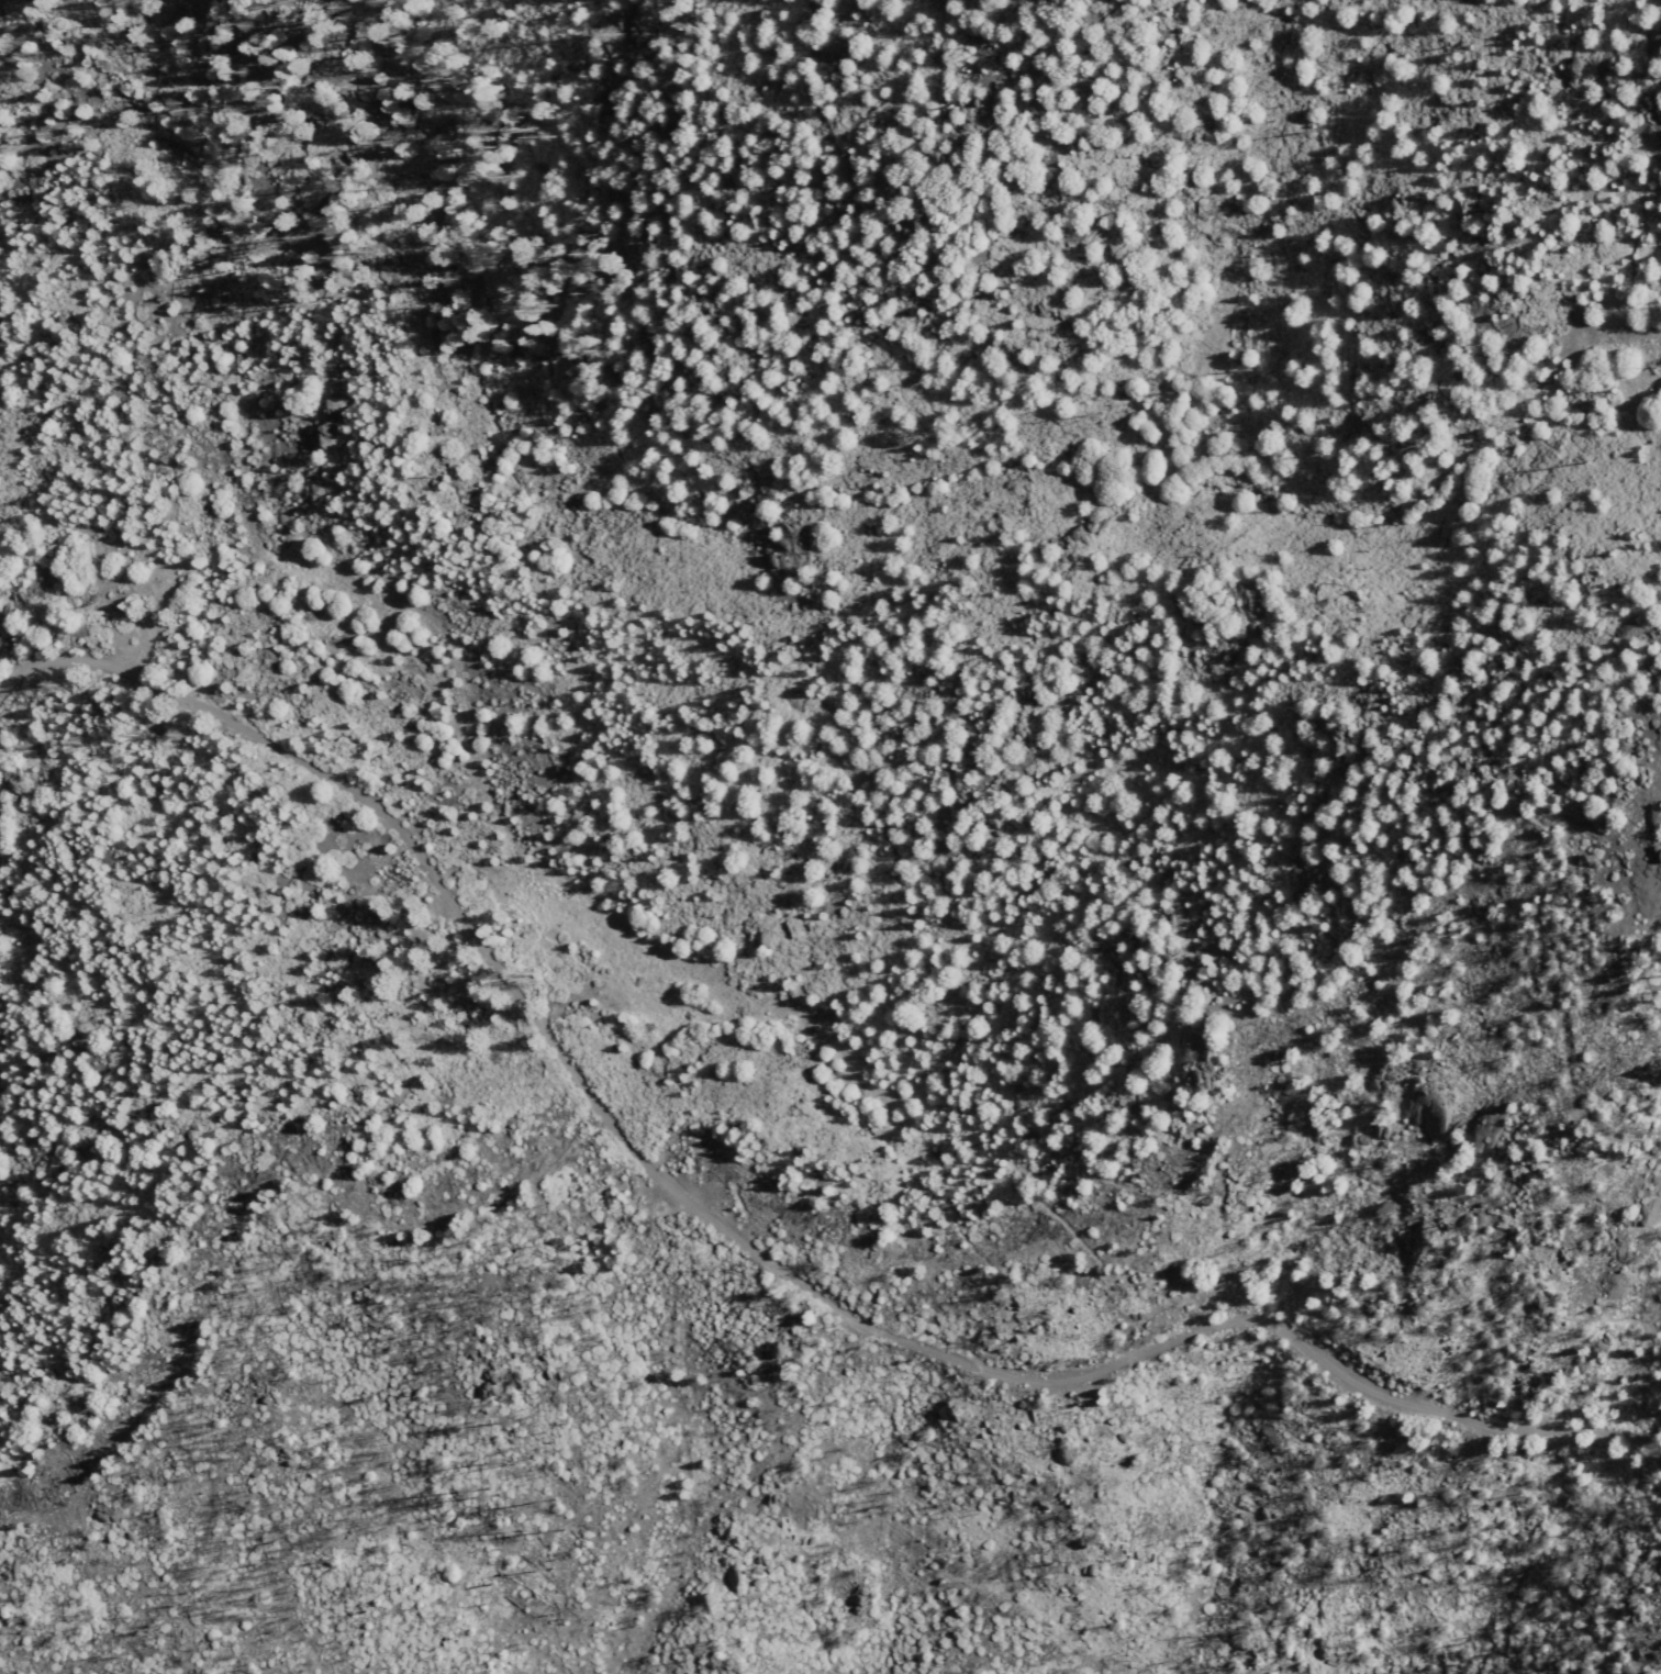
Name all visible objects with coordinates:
road: (1556, 103)
road: (1582, 199)
road: (1527, 880)
road: (746, 1234)

